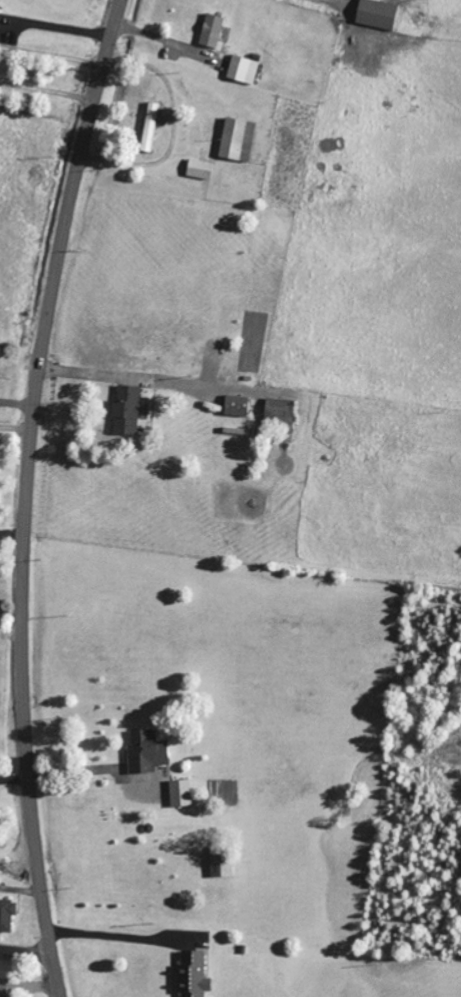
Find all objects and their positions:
building: (379, 14)
building: (214, 30)
building: (245, 69)
building: (152, 127)
building: (240, 140)
building: (202, 169)
building: (239, 406)
building: (129, 410)
building: (281, 413)
road: (28, 494)
building: (149, 752)
building: (183, 793)
building: (8, 915)
road: (26, 953)
building: (195, 975)
building: (5, 993)

